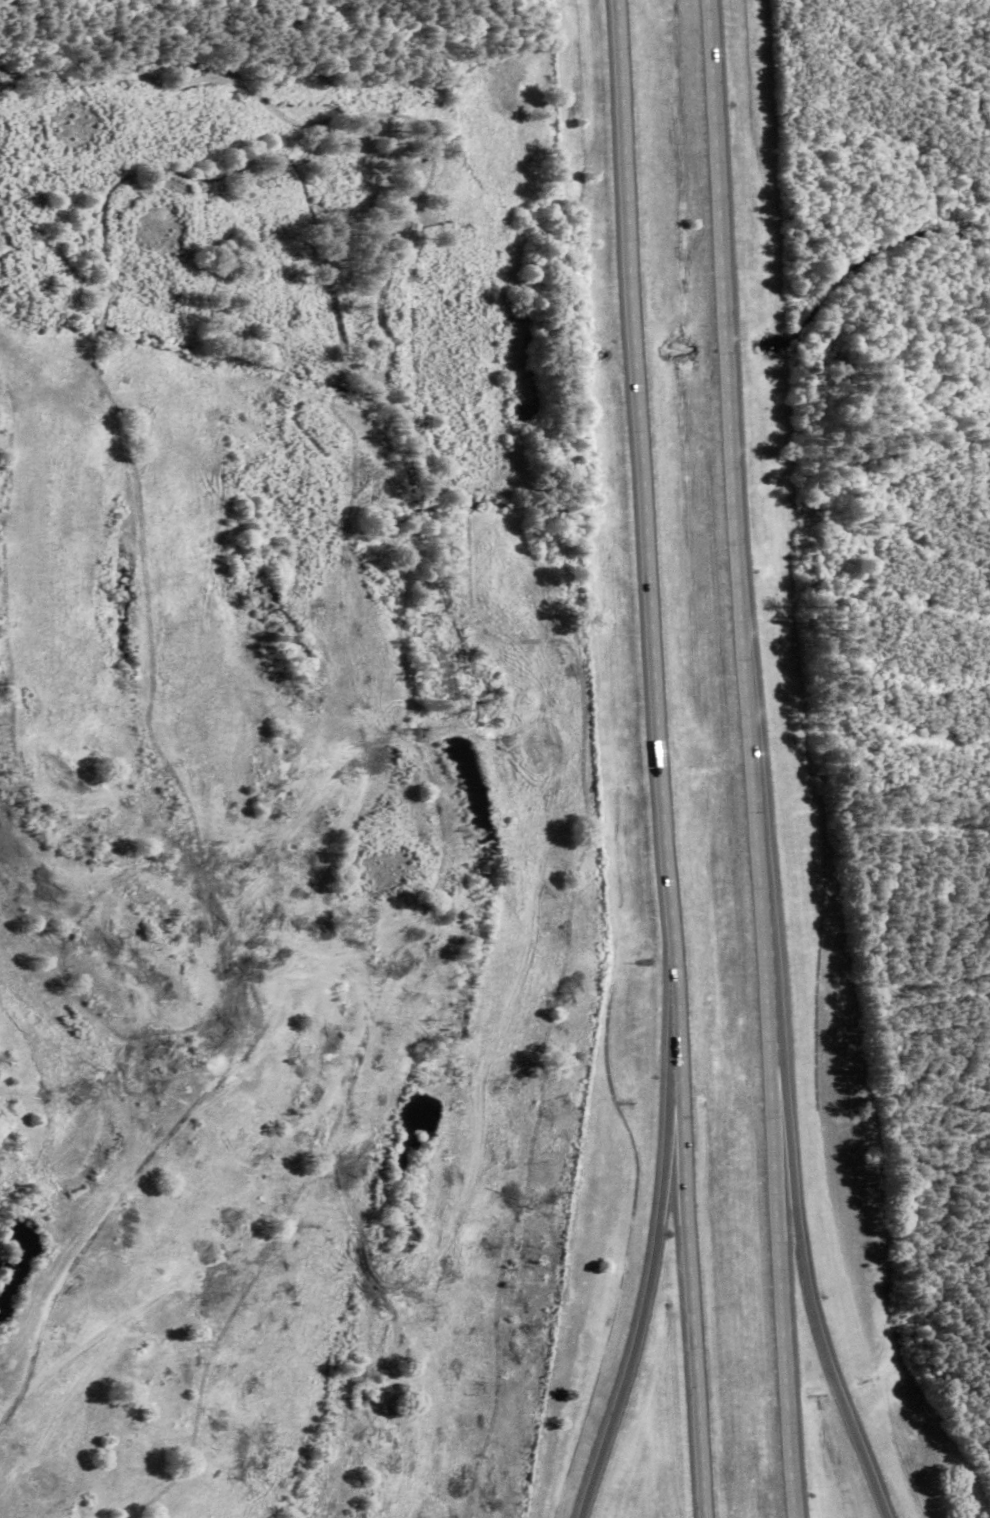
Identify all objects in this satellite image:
road: (631, 235)
road: (661, 752)
road: (752, 758)
road: (801, 1247)
road: (693, 1275)
road: (653, 1279)

